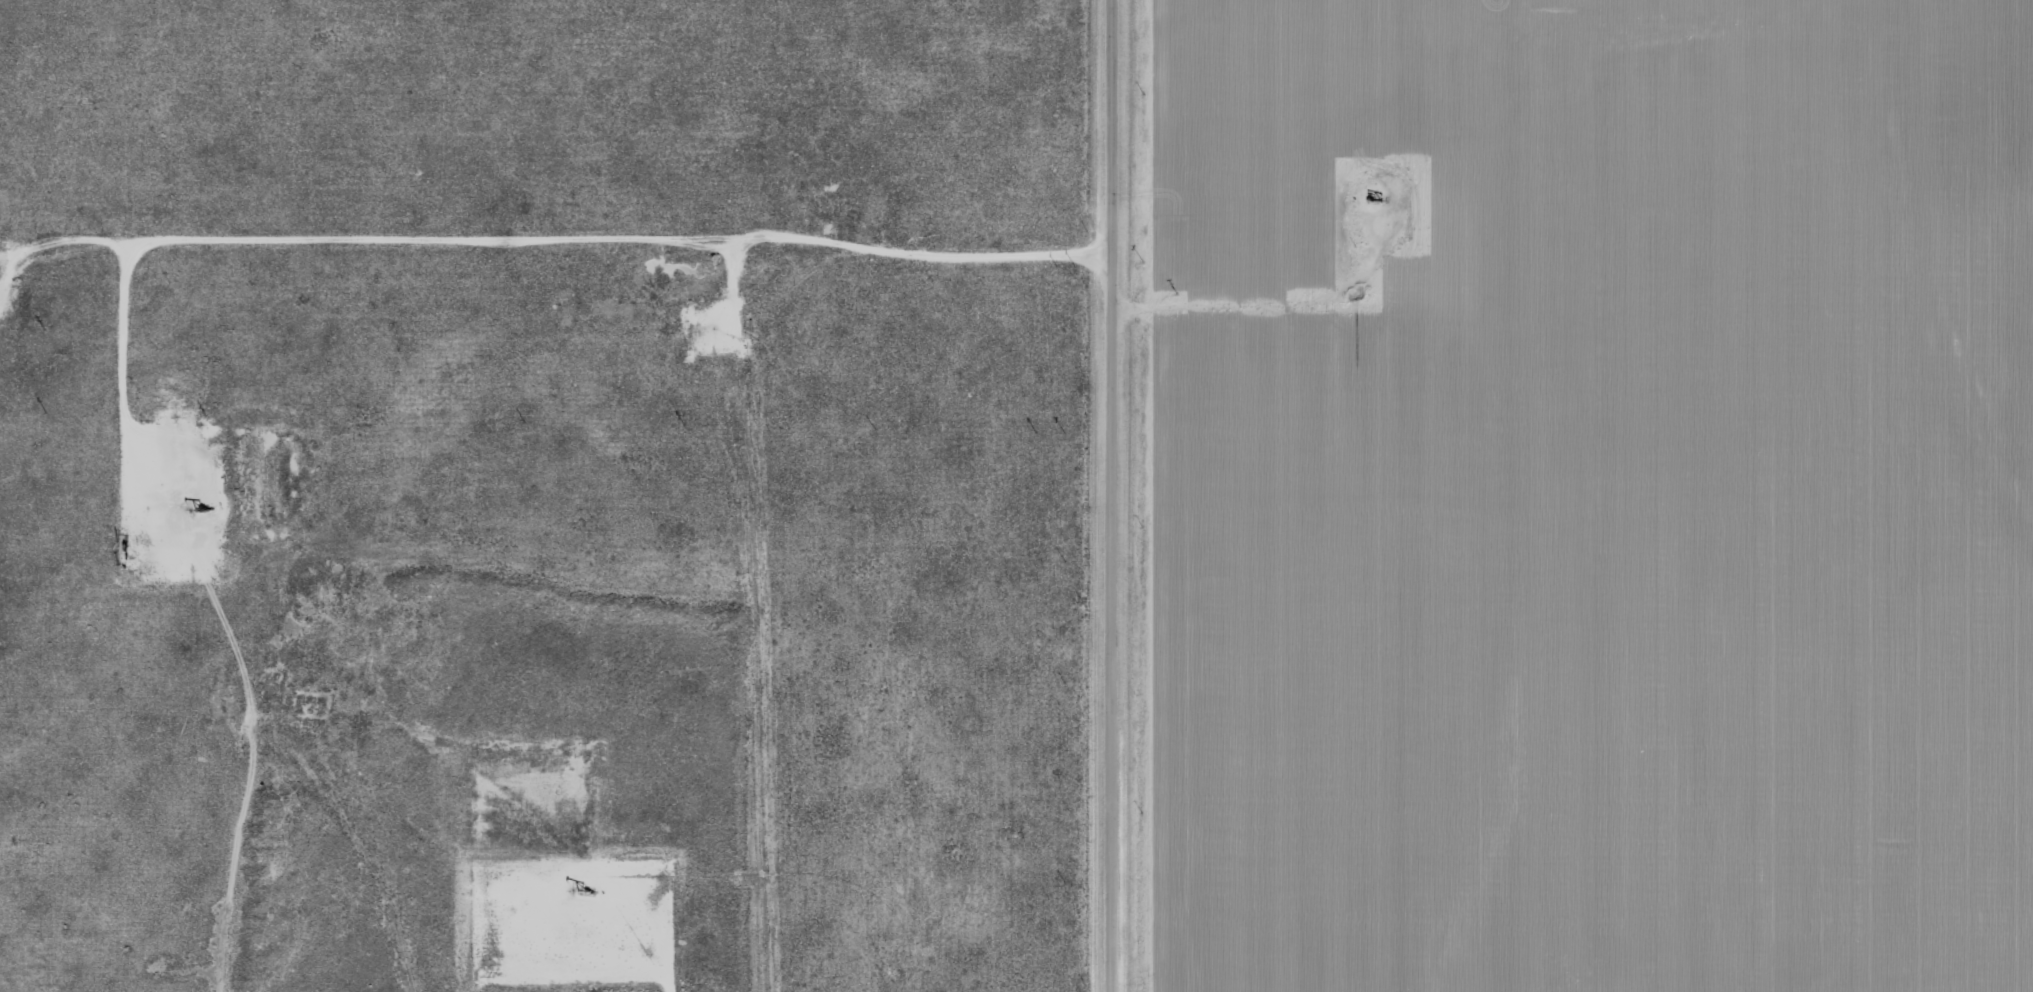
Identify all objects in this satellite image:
petroleum well: (1375, 196)
road: (1116, 496)
petroleum well: (194, 505)
petroleum well: (568, 889)

